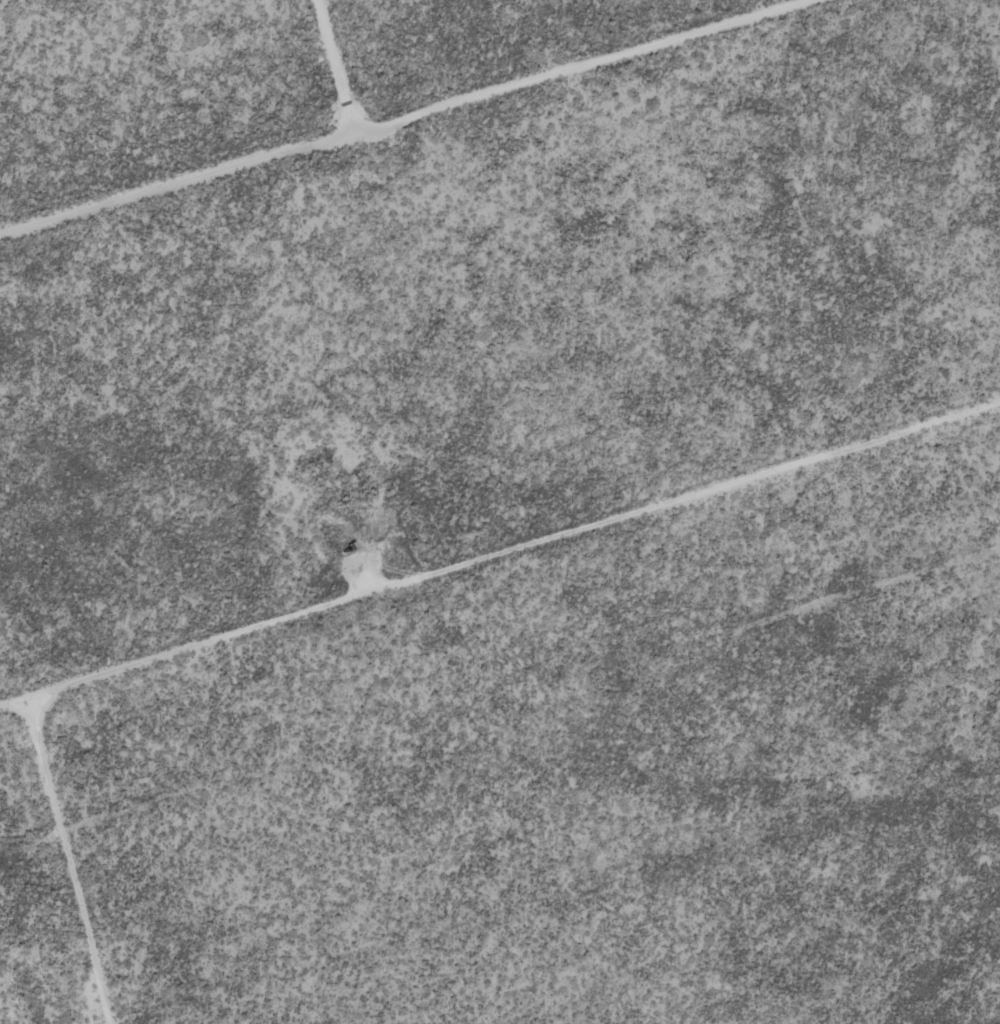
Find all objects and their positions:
road: (392, 111)
road: (499, 555)
road: (86, 858)

